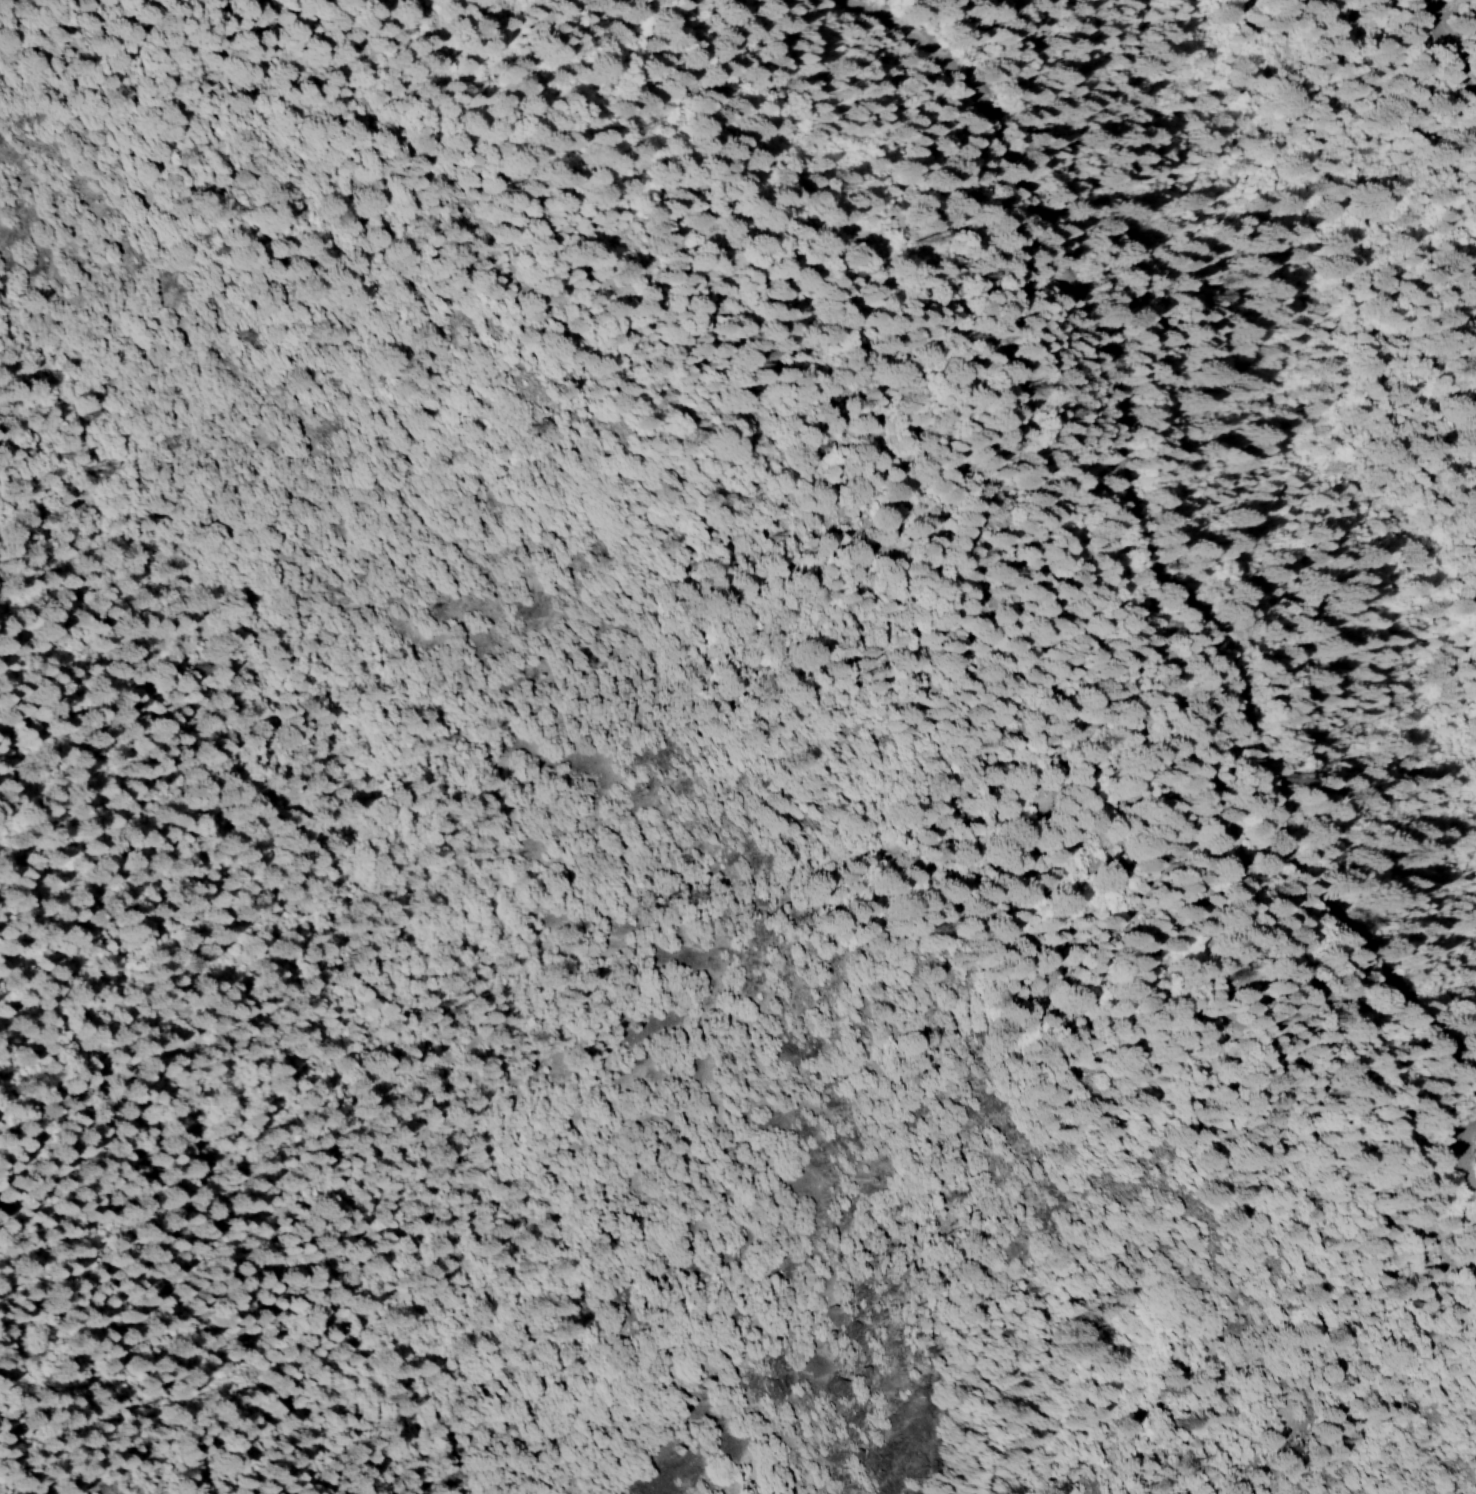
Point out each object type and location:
road: (1450, 43)
road: (1151, 551)
road: (1451, 1155)

